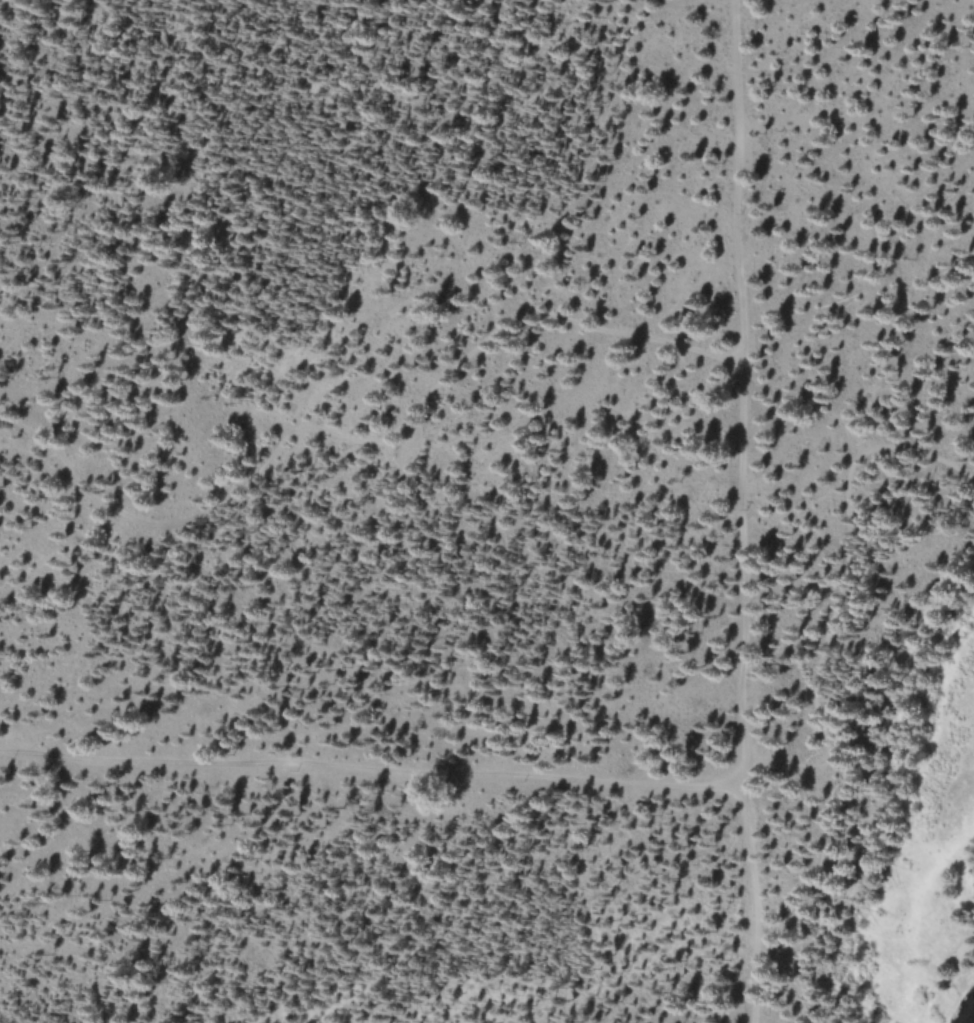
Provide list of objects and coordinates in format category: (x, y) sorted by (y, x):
road: (367, 440)
road: (743, 511)
road: (821, 680)
road: (793, 763)
road: (376, 775)

